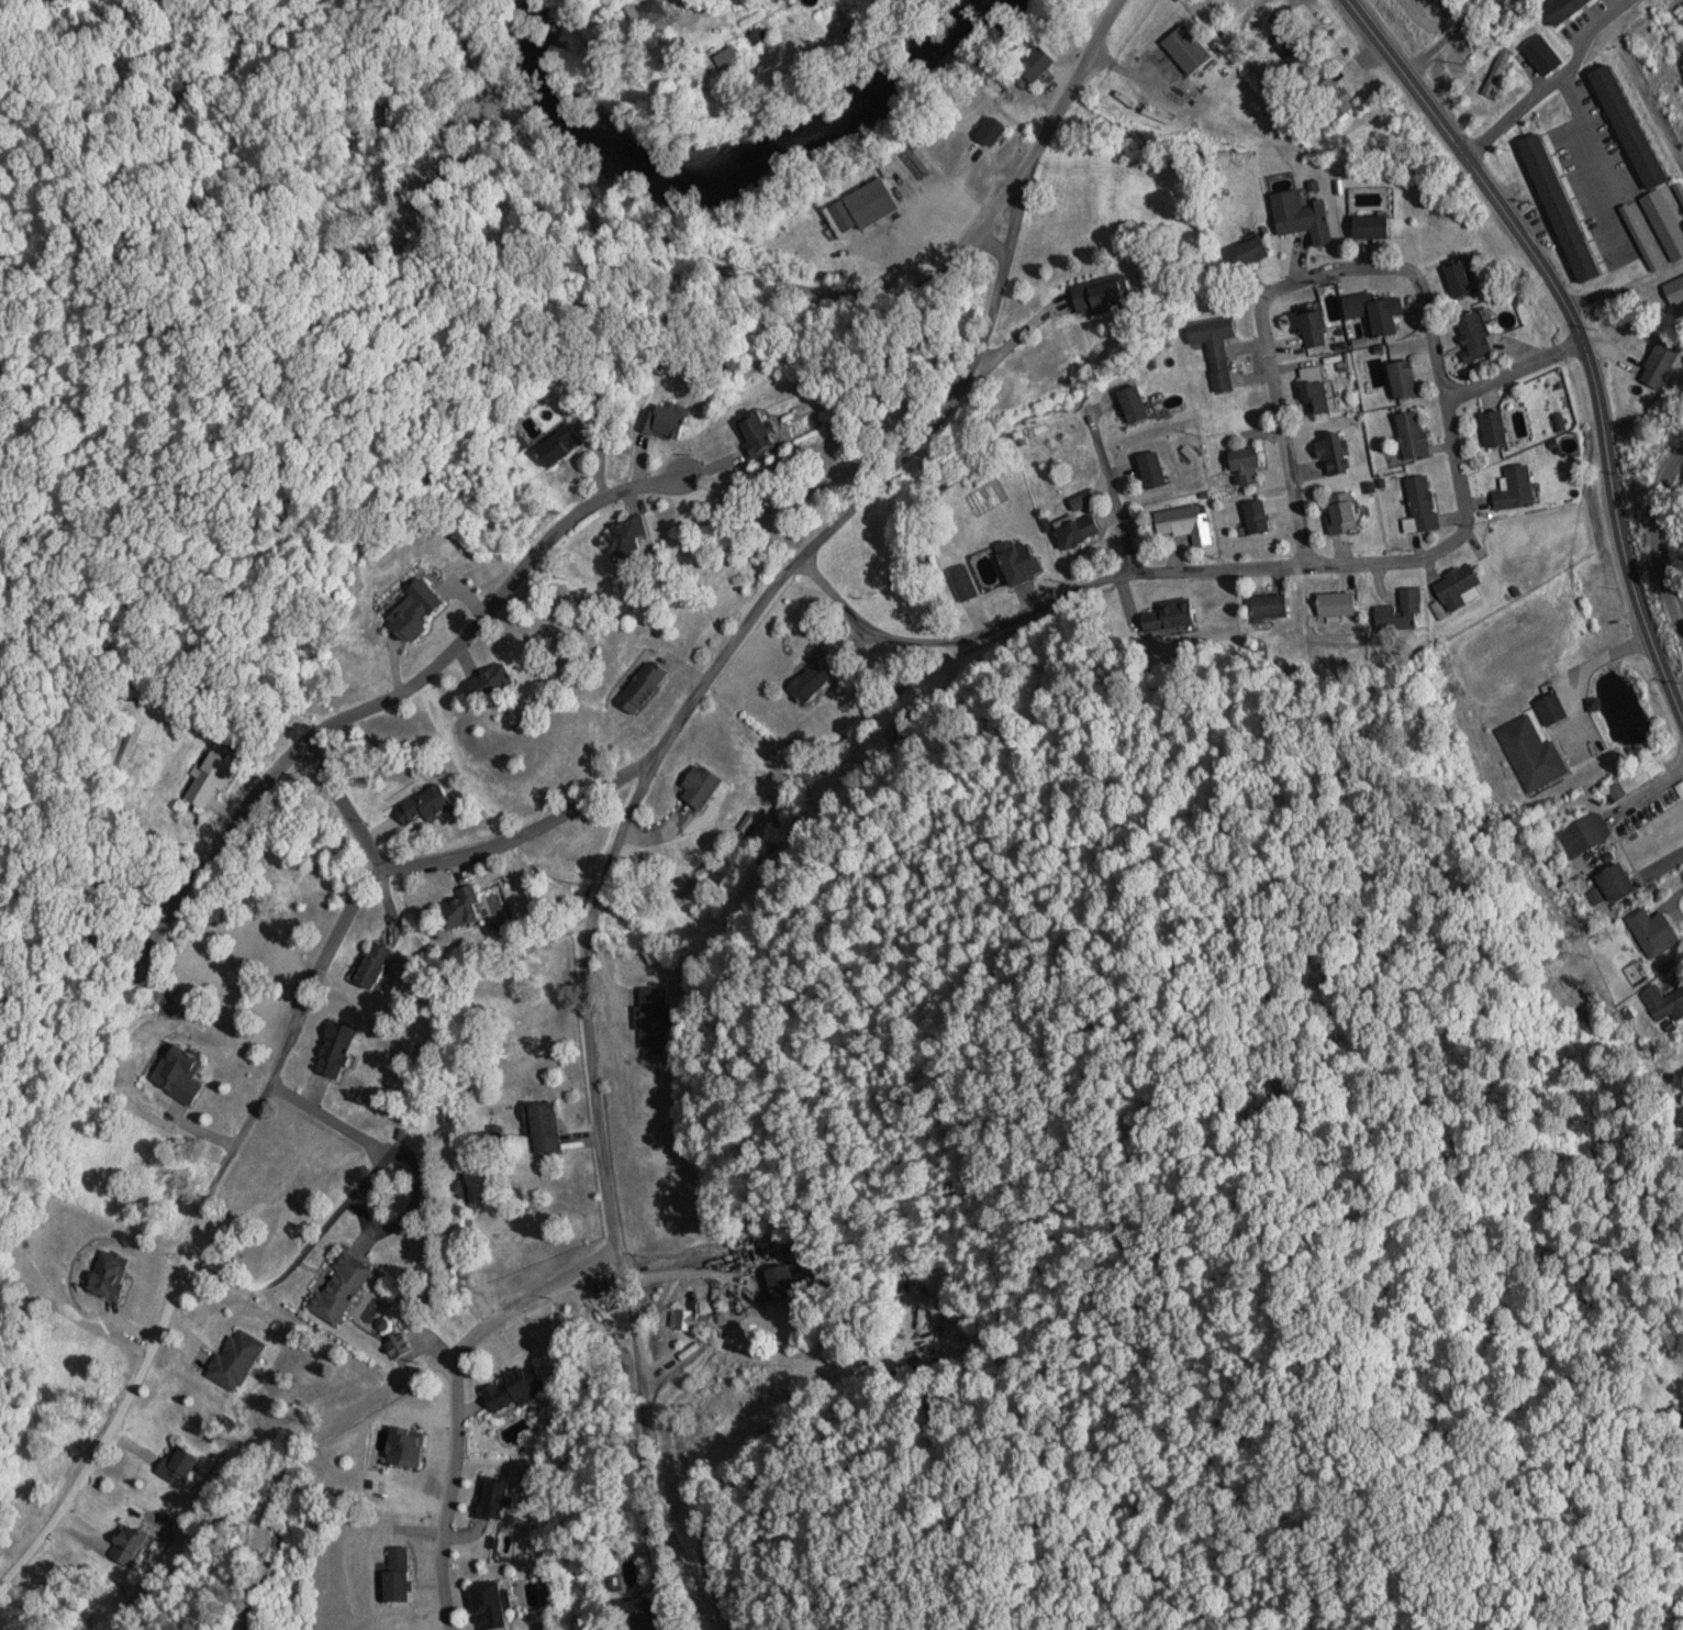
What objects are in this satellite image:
building: (1554, 9)
building: (649, 18)
building: (1183, 49)
building: (1539, 55)
building: (724, 60)
building: (1033, 65)
road: (1559, 78)
road: (1647, 99)
building: (1626, 127)
building: (988, 132)
road: (1596, 133)
river: (728, 163)
building: (869, 204)
building: (1556, 209)
building: (1300, 218)
building: (1664, 224)
building: (1368, 228)
building: (1246, 253)
building: (1616, 256)
building: (1456, 281)
building: (1673, 289)
road: (802, 290)
building: (1094, 296)
building: (1330, 306)
building: (1381, 319)
building: (1307, 329)
road: (1576, 329)
building: (1470, 335)
building: (1214, 347)
building: (1658, 365)
road: (1516, 370)
building: (1401, 379)
building: (1313, 398)
building: (1132, 404)
building: (658, 422)
building: (1492, 429)
building: (1411, 434)
building: (745, 435)
building: (554, 447)
building: (1330, 453)
building: (1244, 466)
building: (1150, 470)
building: (1512, 489)
road: (1112, 491)
building: (1419, 504)
building: (1339, 513)
building: (1255, 517)
building: (1183, 524)
building: (1077, 532)
road: (1654, 539)
building: (618, 542)
road: (1449, 542)
building: (1017, 564)
building: (962, 583)
building: (1454, 587)
building: (1335, 605)
building: (1269, 607)
building: (409, 612)
building: (1398, 612)
building: (1168, 619)
road: (465, 634)
building: (483, 683)
building: (806, 683)
building: (1538, 684)
building: (639, 687)
building: (1531, 755)
building: (205, 781)
building: (696, 786)
road: (348, 805)
building: (421, 807)
building: (1583, 834)
road: (617, 842)
building: (1613, 884)
building: (459, 911)
building: (1651, 933)
building: (370, 965)
building: (1663, 1003)
building: (655, 1018)
building: (332, 1049)
building: (176, 1073)
road: (258, 1100)
building: (544, 1127)
building: (107, 1275)
building: (781, 1282)
building: (338, 1288)
building: (690, 1321)
building: (235, 1360)
building: (513, 1390)
road: (457, 1399)
building: (1676, 1416)
building: (403, 1448)
building: (178, 1464)
building: (491, 1499)
building: (126, 1545)
building: (395, 1574)
building: (486, 1605)
building: (639, 1615)

